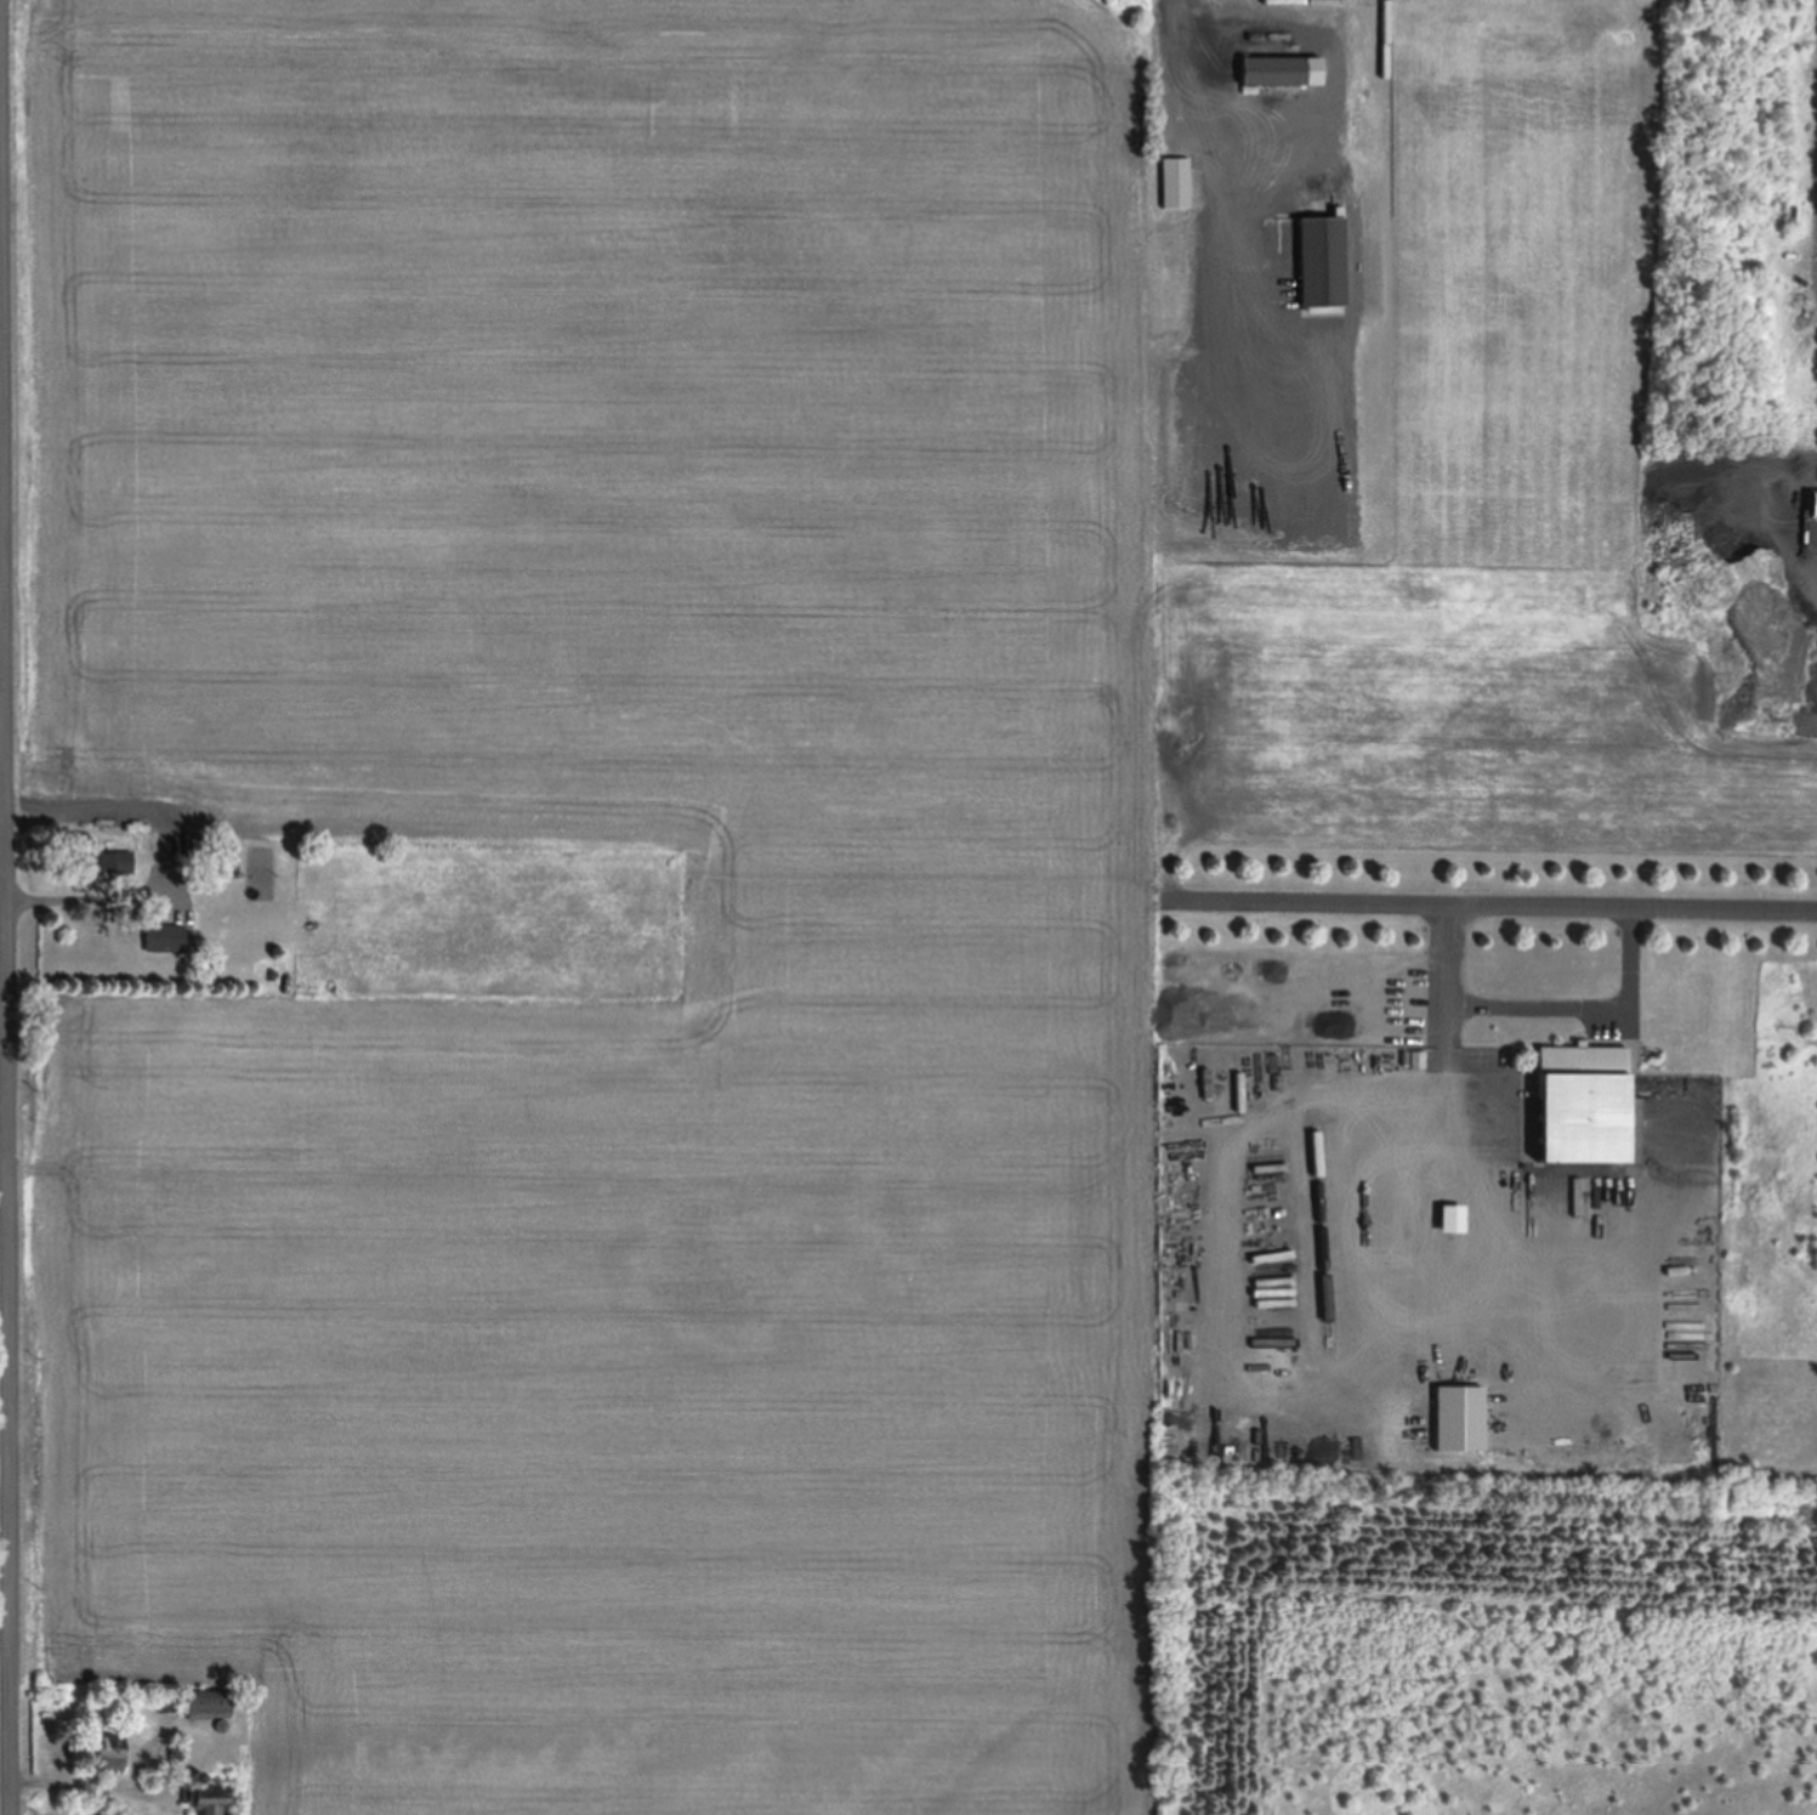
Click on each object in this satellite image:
building: (1272, 68)
building: (1175, 181)
building: (1319, 260)
building: (109, 861)
road: (1493, 903)
road: (8, 907)
crop: (919, 907)
building: (164, 937)
building: (1582, 1104)
road: (5, 1112)
building: (1459, 1418)
building: (206, 1703)
building: (110, 1752)
building: (206, 1802)

